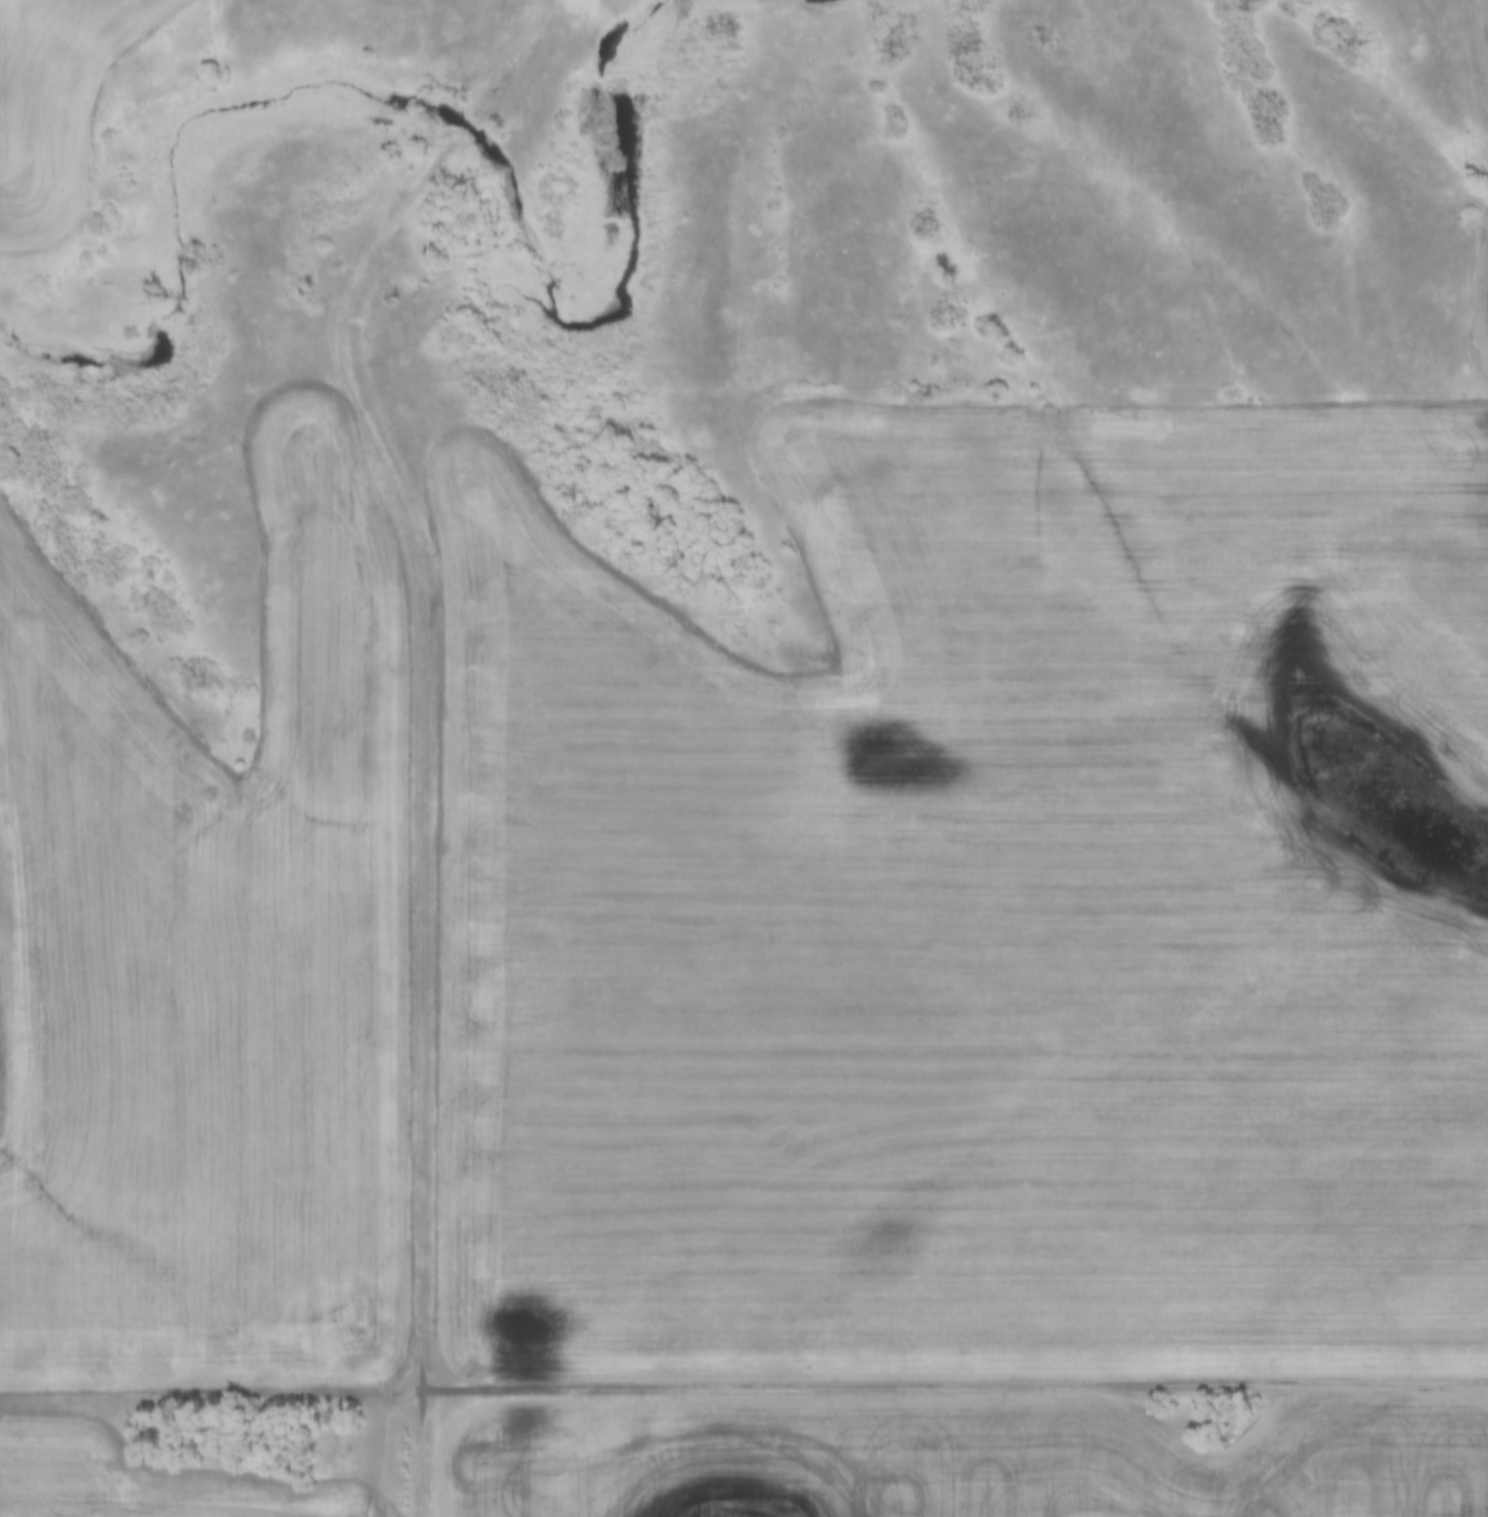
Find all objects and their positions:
road: (521, 60)
road: (469, 124)
road: (423, 794)
road: (743, 1388)

